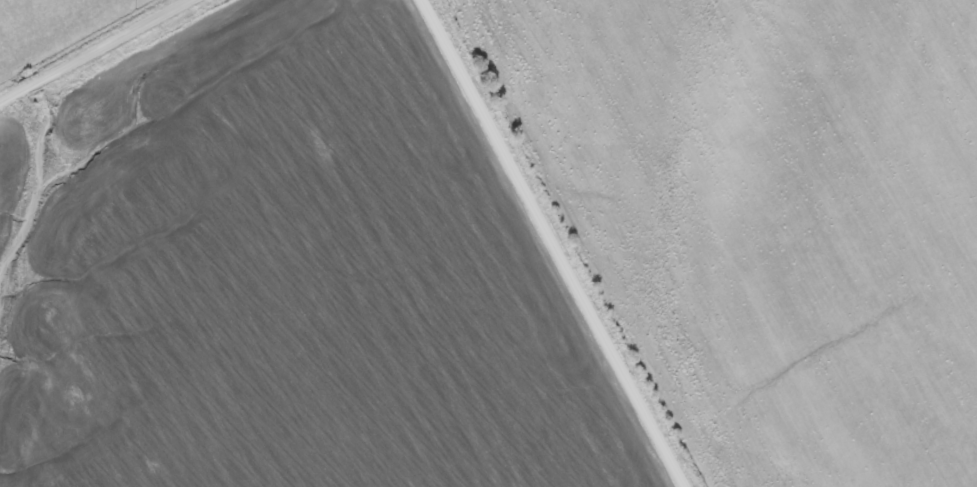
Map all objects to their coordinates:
road: (101, 53)
road: (552, 243)

